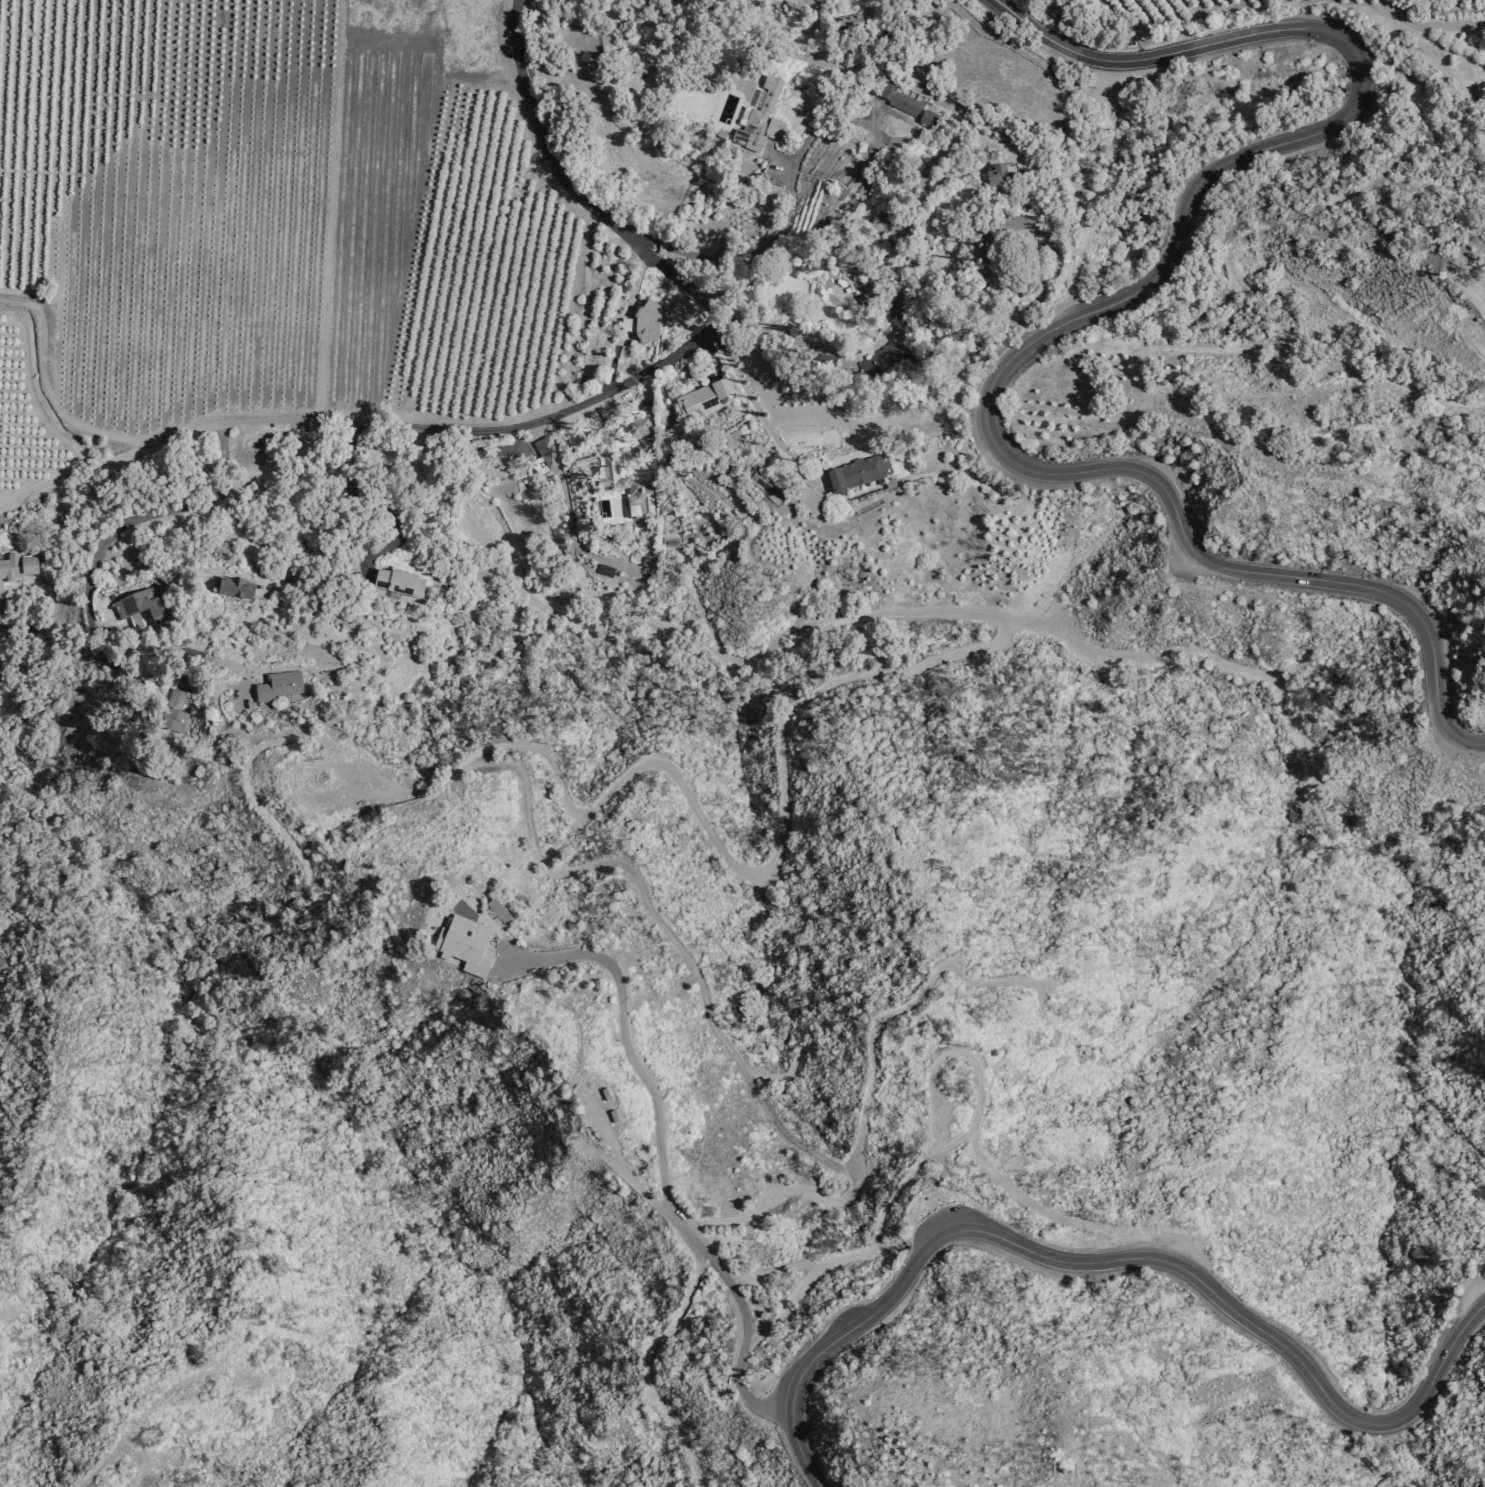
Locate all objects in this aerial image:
road: (1431, 26)
building: (906, 105)
building: (760, 120)
building: (996, 177)
road: (708, 259)
road: (1054, 319)
building: (645, 323)
road: (775, 337)
road: (1236, 352)
building: (888, 354)
building: (703, 399)
road: (758, 411)
road: (559, 415)
building: (637, 427)
building: (547, 452)
building: (627, 488)
road: (1389, 493)
building: (808, 499)
road: (379, 504)
road: (237, 522)
road: (115, 532)
building: (17, 567)
building: (398, 584)
building: (232, 587)
building: (0, 588)
building: (143, 604)
road: (120, 648)
building: (279, 686)
building: (177, 699)
building: (172, 720)
building: (498, 910)
building: (464, 944)
road: (661, 1162)
road: (1111, 1261)

